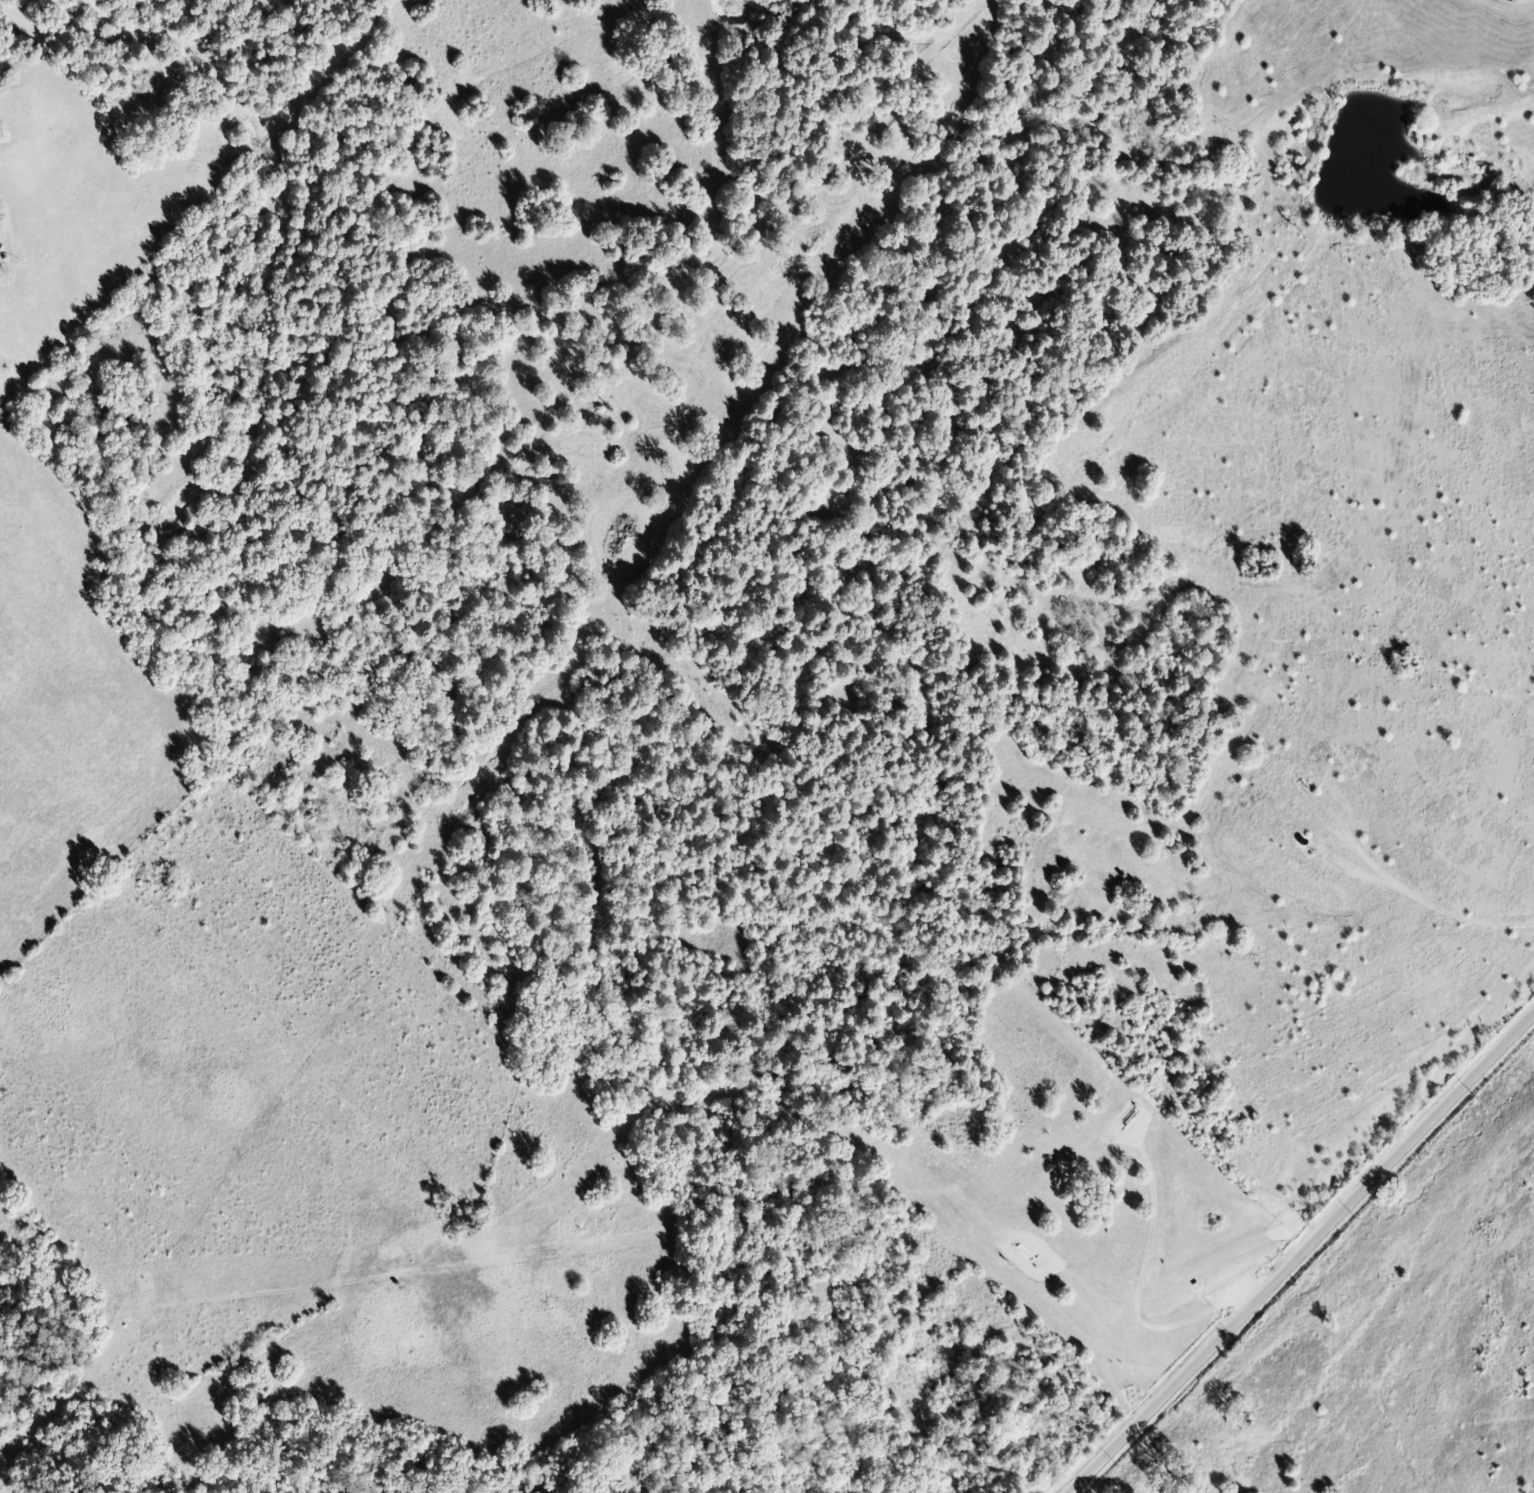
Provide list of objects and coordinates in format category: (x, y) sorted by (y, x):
road: (1301, 1253)

